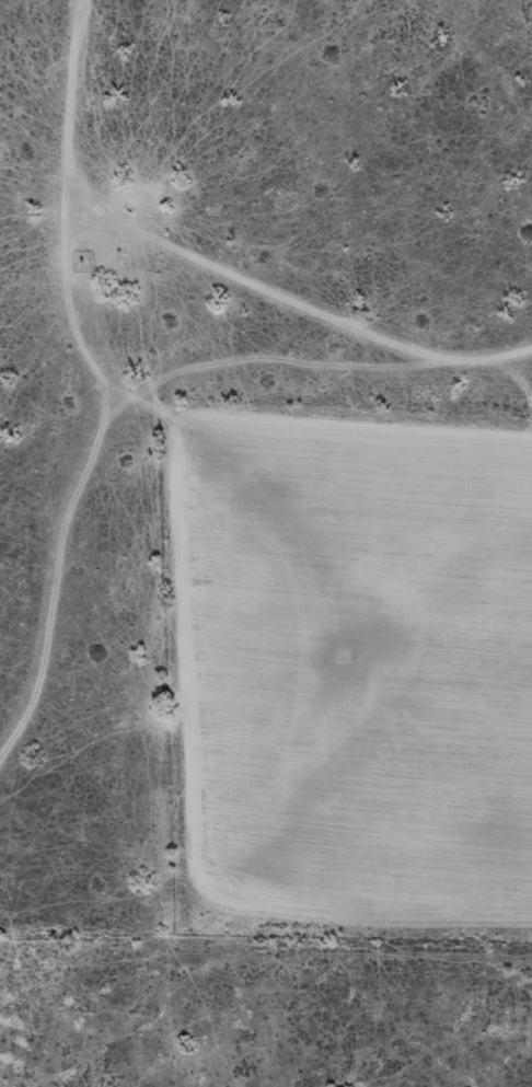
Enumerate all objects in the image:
road: (319, 248)
road: (71, 369)

